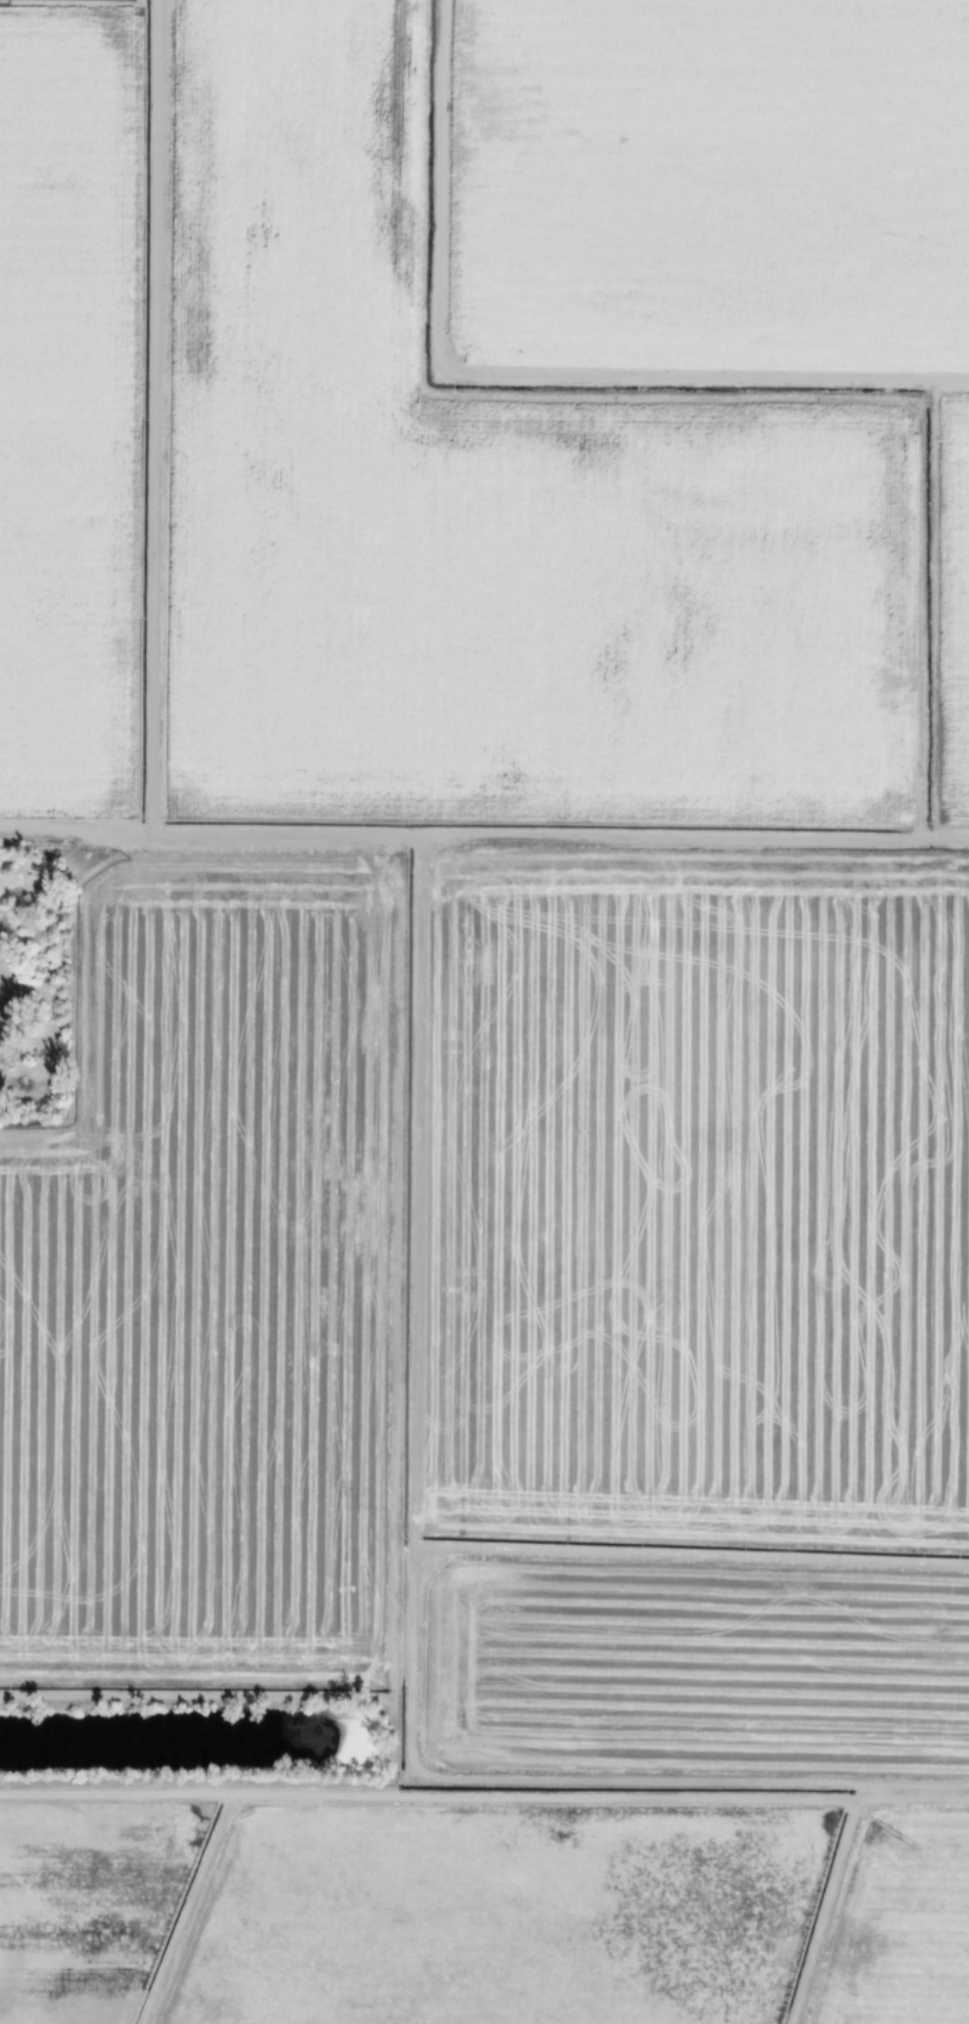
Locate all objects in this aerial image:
road: (76, 832)
road: (53, 873)

